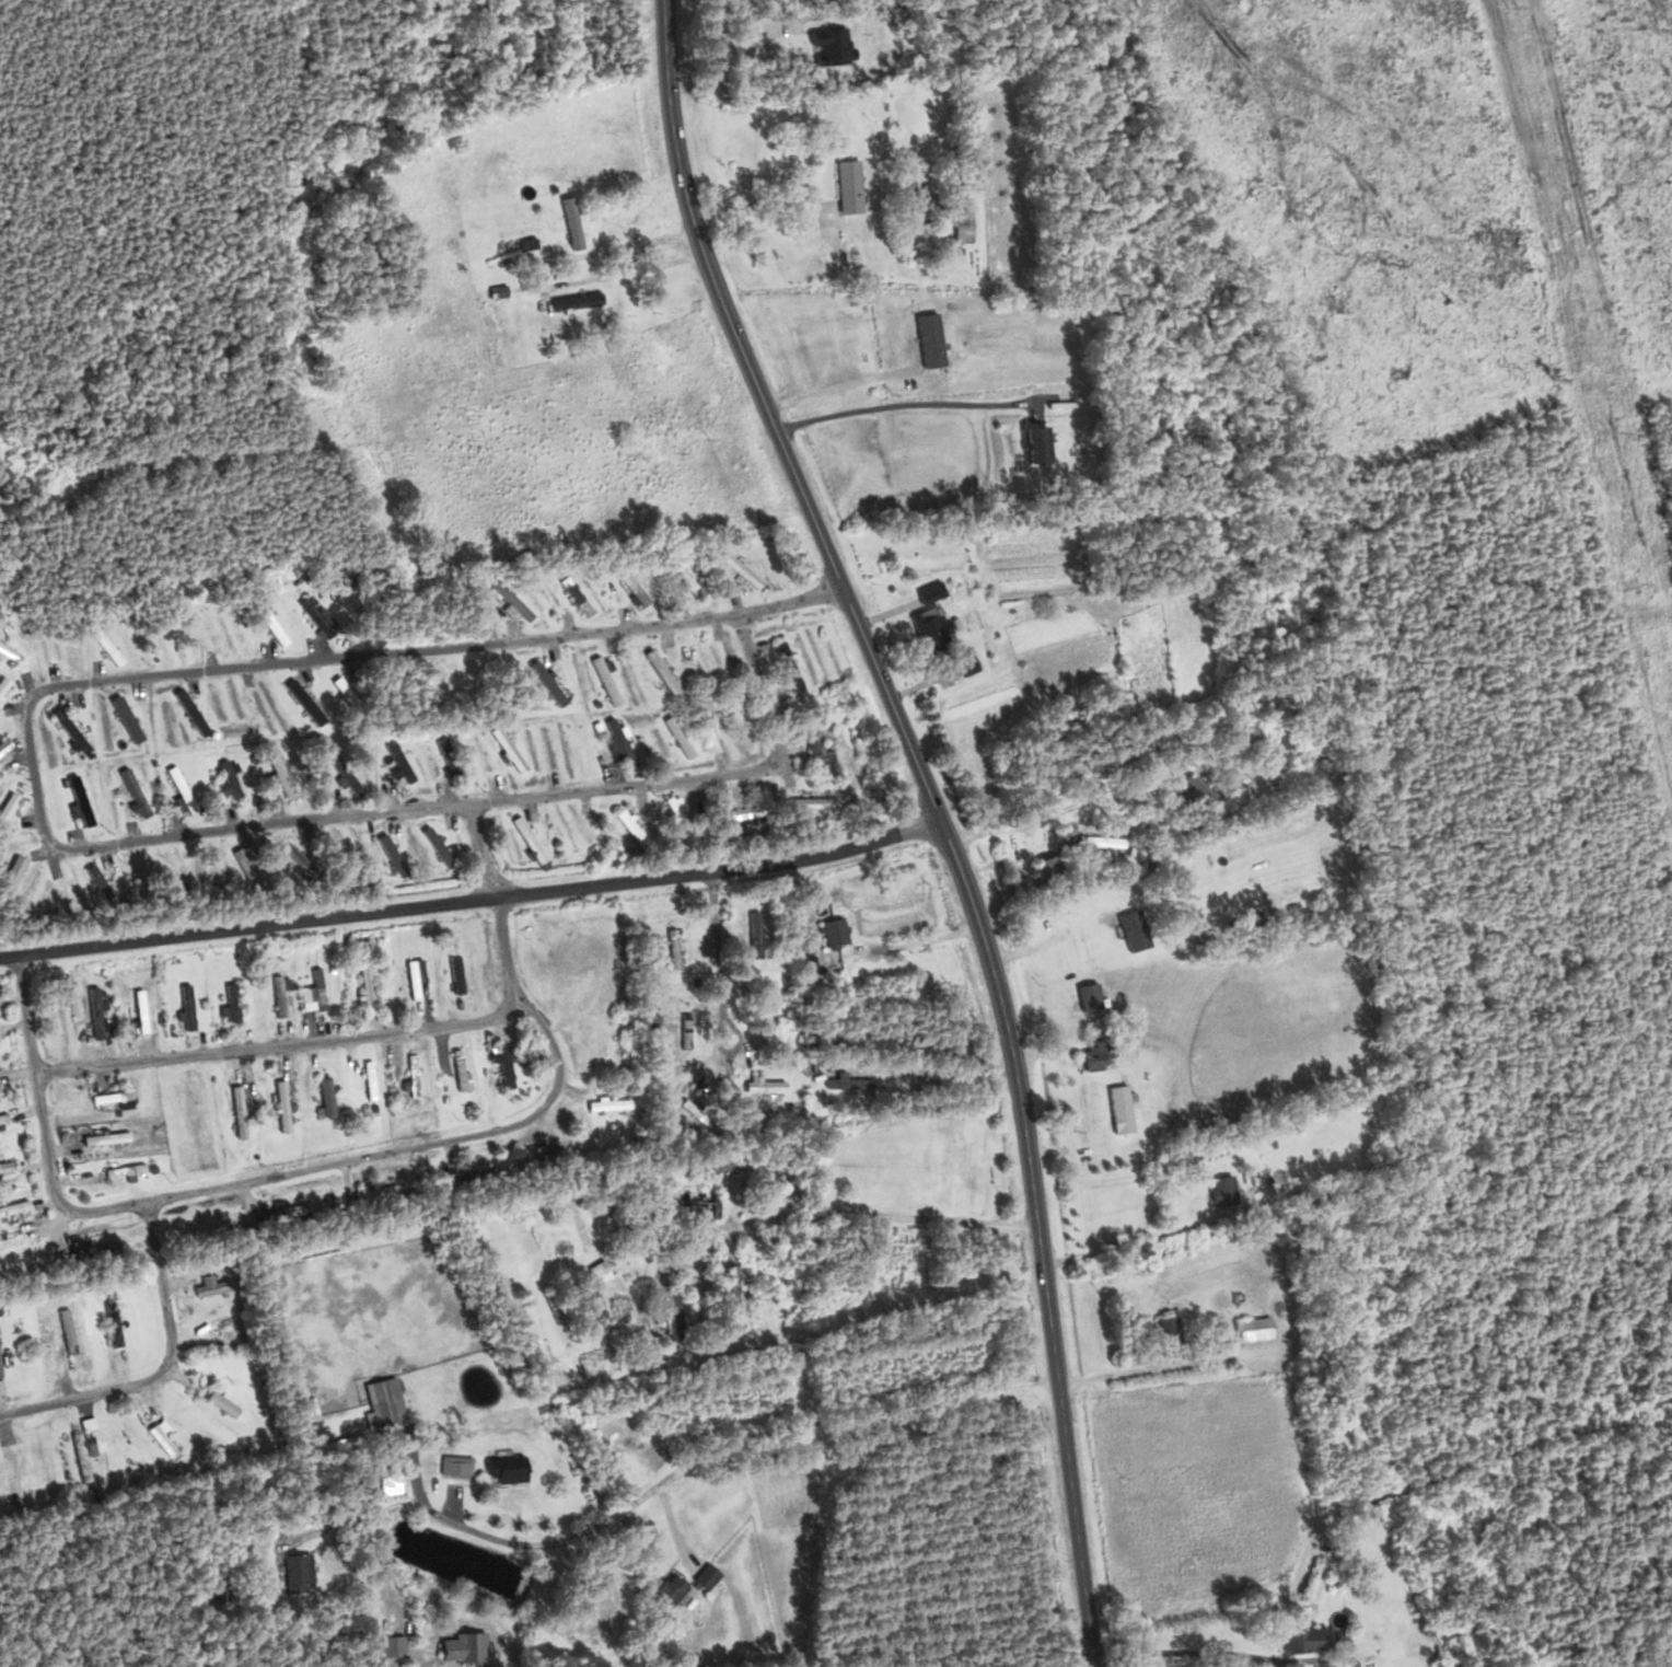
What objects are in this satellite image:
power tower: (1514, 5)
building: (847, 186)
building: (960, 225)
building: (569, 232)
building: (573, 300)
power tower: (1615, 431)
building: (1032, 445)
building: (736, 568)
building: (681, 578)
building: (629, 584)
building: (927, 590)
building: (510, 600)
road: (791, 601)
building: (313, 618)
building: (271, 627)
building: (928, 627)
building: (5, 651)
building: (962, 662)
building: (659, 671)
building: (601, 679)
building: (1, 682)
building: (545, 683)
building: (337, 685)
building: (297, 695)
building: (188, 713)
building: (731, 723)
building: (67, 729)
building: (676, 736)
building: (618, 741)
building: (817, 742)
building: (506, 750)
building: (396, 761)
building: (452, 767)
building: (276, 769)
building: (227, 778)
building: (347, 782)
building: (1258, 785)
building: (1188, 786)
building: (131, 791)
building: (78, 798)
building: (810, 802)
building: (740, 811)
road: (944, 814)
building: (628, 827)
building: (578, 838)
building: (525, 841)
building: (1098, 842)
road: (63, 848)
road: (483, 850)
building: (294, 857)
building: (241, 863)
building: (1043, 867)
building: (9, 871)
building: (94, 882)
road: (476, 901)
building: (1130, 929)
building: (829, 931)
building: (670, 946)
building: (806, 963)
building: (411, 979)
road: (720, 981)
building: (361, 983)
building: (315, 988)
building: (276, 995)
building: (1085, 995)
building: (229, 1002)
building: (185, 1006)
building: (760, 1007)
building: (137, 1009)
building: (93, 1012)
building: (683, 1031)
road: (281, 1045)
building: (1093, 1054)
building: (503, 1068)
building: (457, 1069)
building: (409, 1074)
building: (367, 1079)
building: (841, 1083)
building: (764, 1086)
building: (323, 1096)
building: (107, 1097)
building: (188, 1105)
building: (278, 1105)
building: (1118, 1108)
building: (235, 1111)
building: (1, 1120)
building: (103, 1138)
building: (4, 1166)
road: (294, 1170)
building: (111, 1171)
building: (1218, 1190)
building: (373, 1193)
building: (683, 1202)
building: (12, 1207)
building: (91, 1249)
building: (595, 1269)
building: (209, 1287)
building: (553, 1308)
building: (664, 1319)
building: (108, 1323)
building: (1250, 1329)
building: (62, 1330)
building: (1168, 1331)
road: (164, 1368)
building: (217, 1403)
building: (380, 1413)
building: (79, 1447)
building: (455, 1468)
building: (503, 1468)
building: (7, 1473)
road: (670, 1479)
building: (292, 1572)
building: (704, 1576)
building: (663, 1591)
building: (1300, 1640)
building: (458, 1646)
building: (384, 1647)

